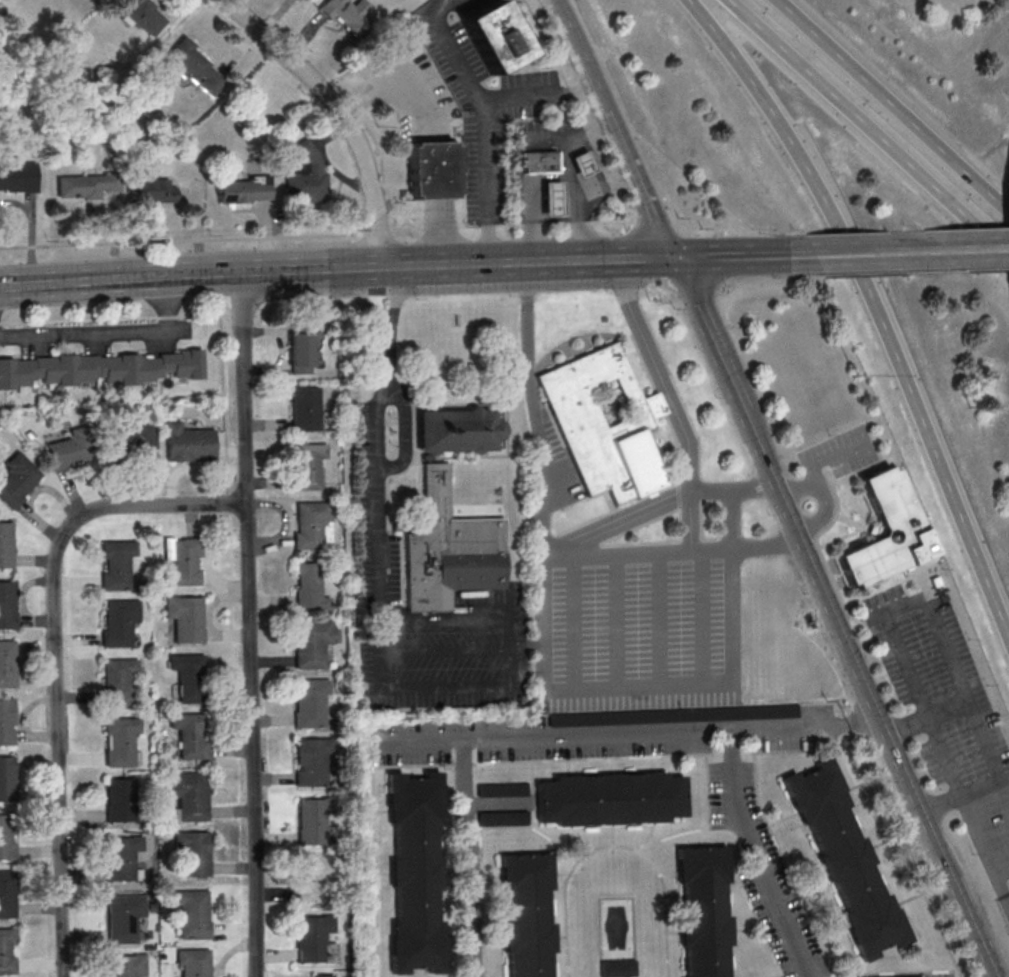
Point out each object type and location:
building: (348, 15)
building: (146, 16)
building: (495, 37)
building: (194, 66)
road: (537, 97)
road: (894, 105)
road: (342, 112)
road: (482, 123)
road: (869, 128)
road: (611, 129)
building: (539, 163)
building: (581, 164)
building: (433, 169)
building: (18, 177)
road: (540, 180)
road: (569, 181)
building: (85, 186)
building: (305, 188)
building: (157, 190)
building: (244, 191)
building: (551, 200)
road: (975, 248)
road: (918, 250)
road: (854, 252)
road: (741, 257)
traffic signals: (668, 260)
road: (545, 264)
road: (380, 269)
road: (987, 270)
road: (936, 272)
road: (860, 275)
road: (168, 278)
road: (718, 293)
road: (878, 300)
road: (386, 325)
road: (110, 333)
road: (702, 338)
building: (300, 352)
road: (386, 355)
road: (525, 356)
building: (99, 369)
building: (305, 408)
road: (674, 412)
building: (603, 423)
road: (375, 426)
road: (405, 432)
building: (133, 442)
building: (188, 443)
building: (70, 449)
building: (308, 465)
building: (17, 479)
building: (435, 490)
road: (542, 510)
building: (310, 526)
building: (885, 534)
building: (6, 544)
road: (764, 548)
road: (637, 555)
building: (182, 560)
building: (115, 564)
road: (807, 567)
building: (309, 587)
road: (906, 602)
building: (6, 606)
building: (183, 619)
building: (117, 623)
road: (248, 626)
parking lot: (637, 626)
road: (480, 630)
building: (310, 643)
road: (54, 657)
building: (6, 665)
building: (188, 676)
building: (116, 682)
road: (589, 687)
building: (308, 703)
parking lot: (947, 712)
building: (6, 723)
road: (907, 726)
road: (803, 727)
building: (189, 735)
road: (555, 735)
building: (118, 742)
building: (310, 761)
building: (6, 779)
building: (502, 789)
building: (186, 795)
building: (119, 800)
building: (609, 800)
building: (502, 818)
building: (309, 821)
building: (6, 838)
road: (937, 847)
building: (190, 853)
road: (754, 856)
building: (119, 858)
road: (466, 858)
building: (844, 860)
building: (412, 871)
building: (314, 878)
building: (6, 894)
building: (702, 911)
building: (188, 913)
building: (524, 915)
building: (121, 917)
building: (310, 939)
building: (5, 950)
building: (192, 963)
building: (124, 966)
building: (617, 968)
building: (322, 975)
building: (894, 976)

